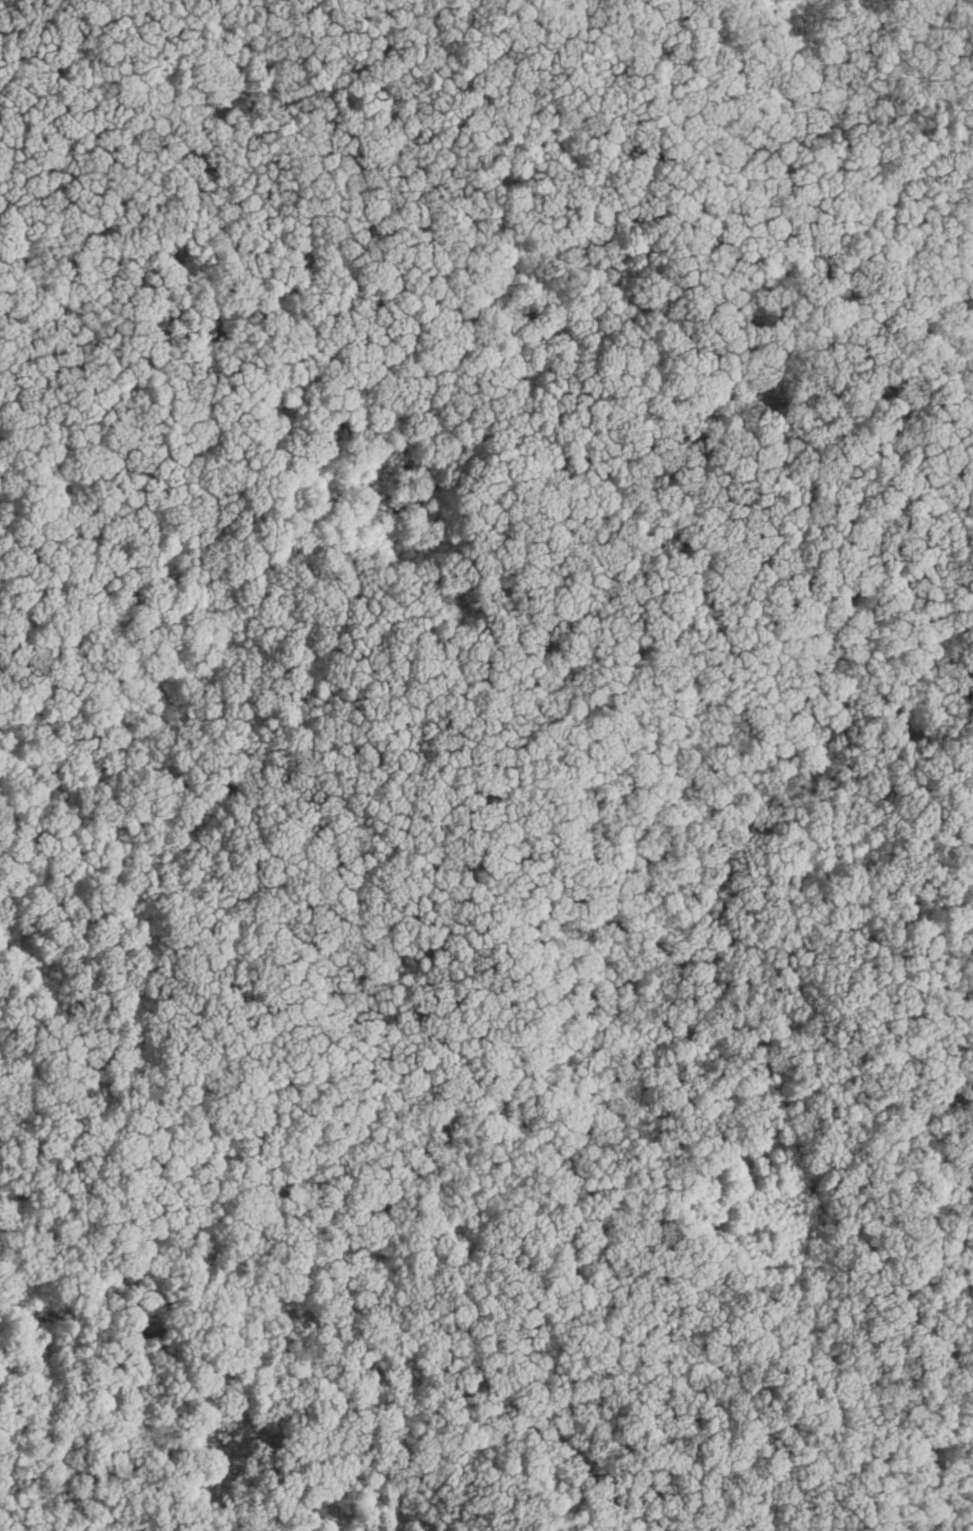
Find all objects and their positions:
road: (265, 1345)
road: (589, 1472)

